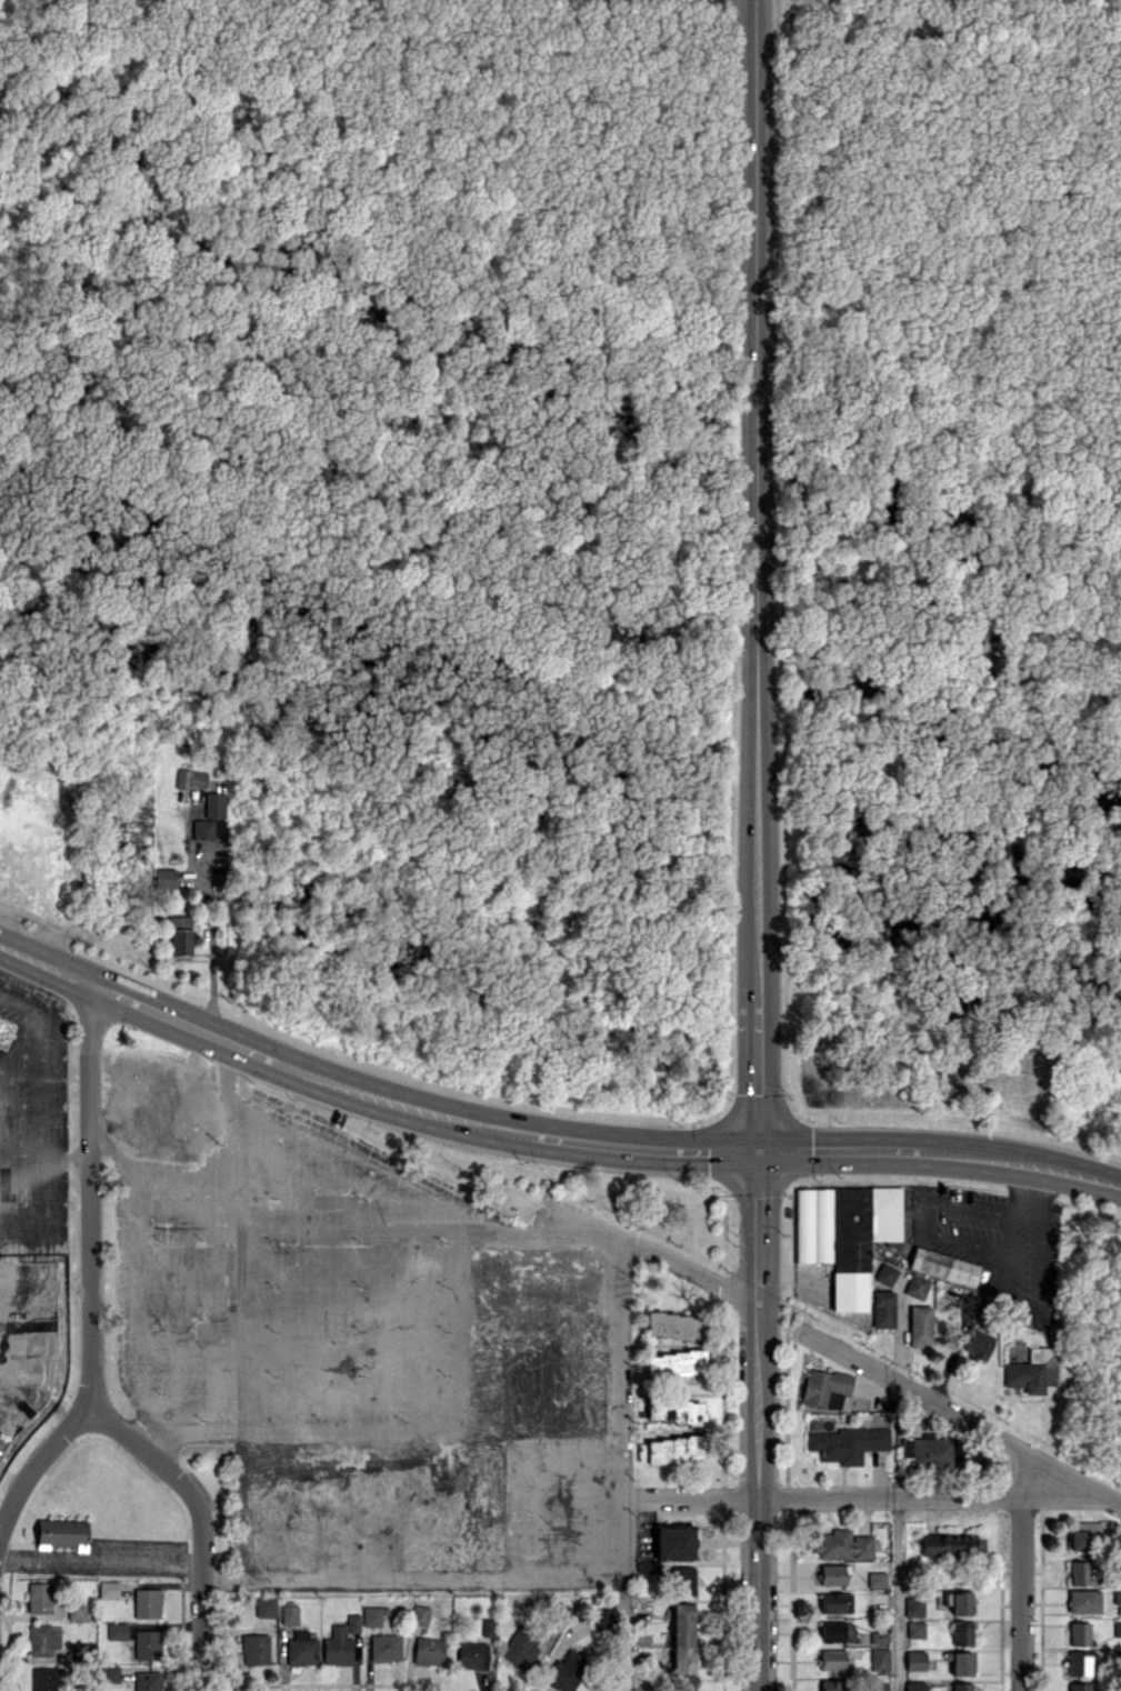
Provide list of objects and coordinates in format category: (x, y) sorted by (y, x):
road: (755, 845)
road: (209, 938)
road: (40, 962)
road: (179, 1019)
road: (52, 1075)
road: (401, 1103)
road: (642, 1145)
road: (840, 1151)
traffic signals: (755, 1154)
road: (979, 1160)
road: (204, 1170)
road: (1078, 1174)
road: (948, 1203)
road: (1020, 1210)
road: (1003, 1228)
road: (507, 1229)
building: (845, 1234)
road: (1034, 1235)
road: (959, 1238)
road: (651, 1254)
building: (943, 1265)
building: (885, 1273)
road: (129, 1274)
road: (88, 1277)
building: (917, 1285)
building: (882, 1309)
road: (456, 1322)
building: (675, 1325)
building: (920, 1325)
building: (977, 1343)
building: (675, 1363)
building: (1031, 1369)
building: (824, 1388)
building: (498, 1401)
road: (619, 1410)
building: (675, 1411)
road: (959, 1417)
building: (848, 1443)
building: (670, 1450)
building: (931, 1450)
road: (169, 1474)
road: (842, 1500)
building: (1084, 1534)
building: (674, 1541)
building: (842, 1544)
building: (951, 1544)
road: (102, 1560)
building: (647, 1567)
building: (832, 1573)
building: (1081, 1573)
building: (877, 1579)
building: (683, 1580)
road: (414, 1582)
road: (895, 1595)
road: (1018, 1595)
building: (1117, 1597)
building: (1083, 1600)
building: (959, 1601)
building: (835, 1602)
building: (913, 1607)
building: (601, 1617)
road: (204, 1627)
building: (915, 1629)
building: (833, 1631)
building: (961, 1632)
building: (1079, 1633)
road: (625, 1637)
building: (879, 1637)
building: (521, 1647)
building: (683, 1647)
building: (472, 1655)
building: (879, 1658)
building: (832, 1659)
building: (914, 1660)
building: (960, 1662)
building: (1079, 1663)
building: (565, 1671)
building: (833, 1684)
building: (914, 1685)
building: (962, 1685)
building: (879, 1687)
building: (1079, 1687)

